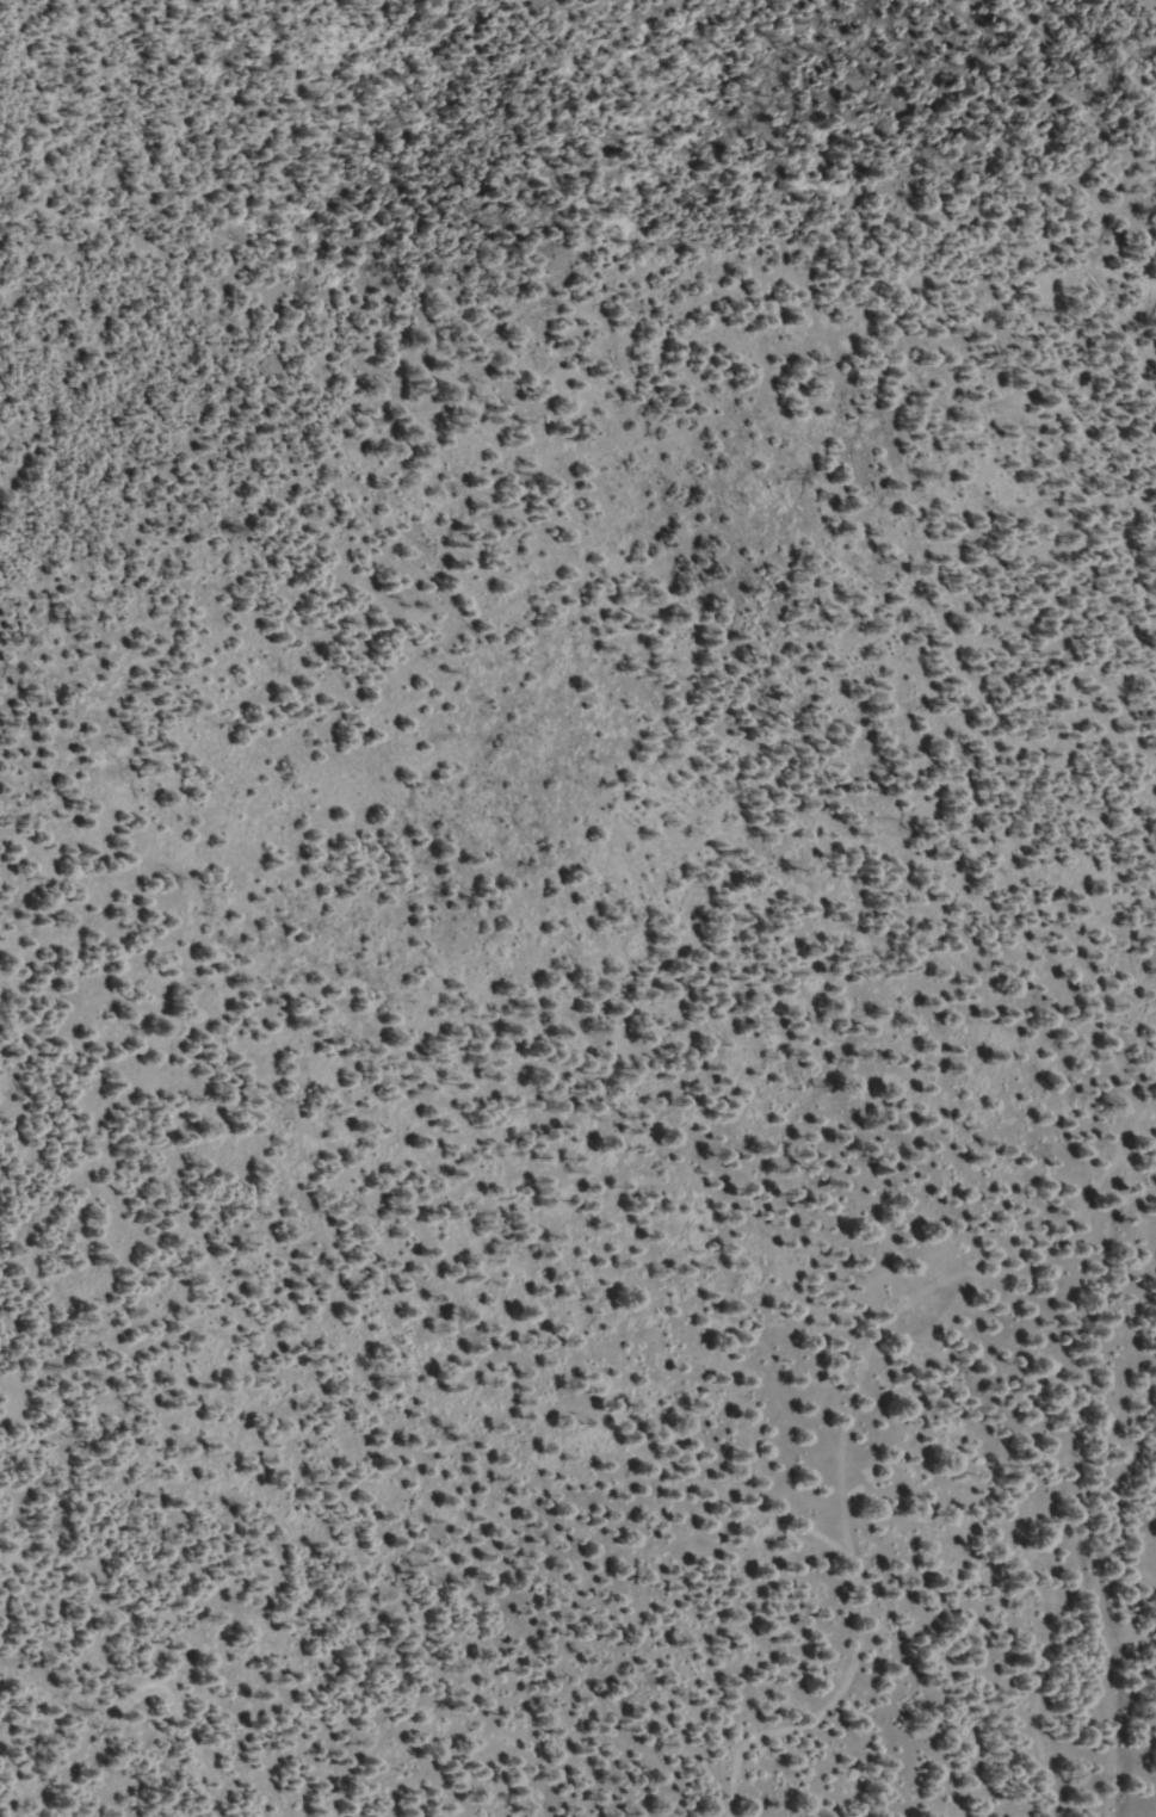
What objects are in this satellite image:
road: (978, 1675)

